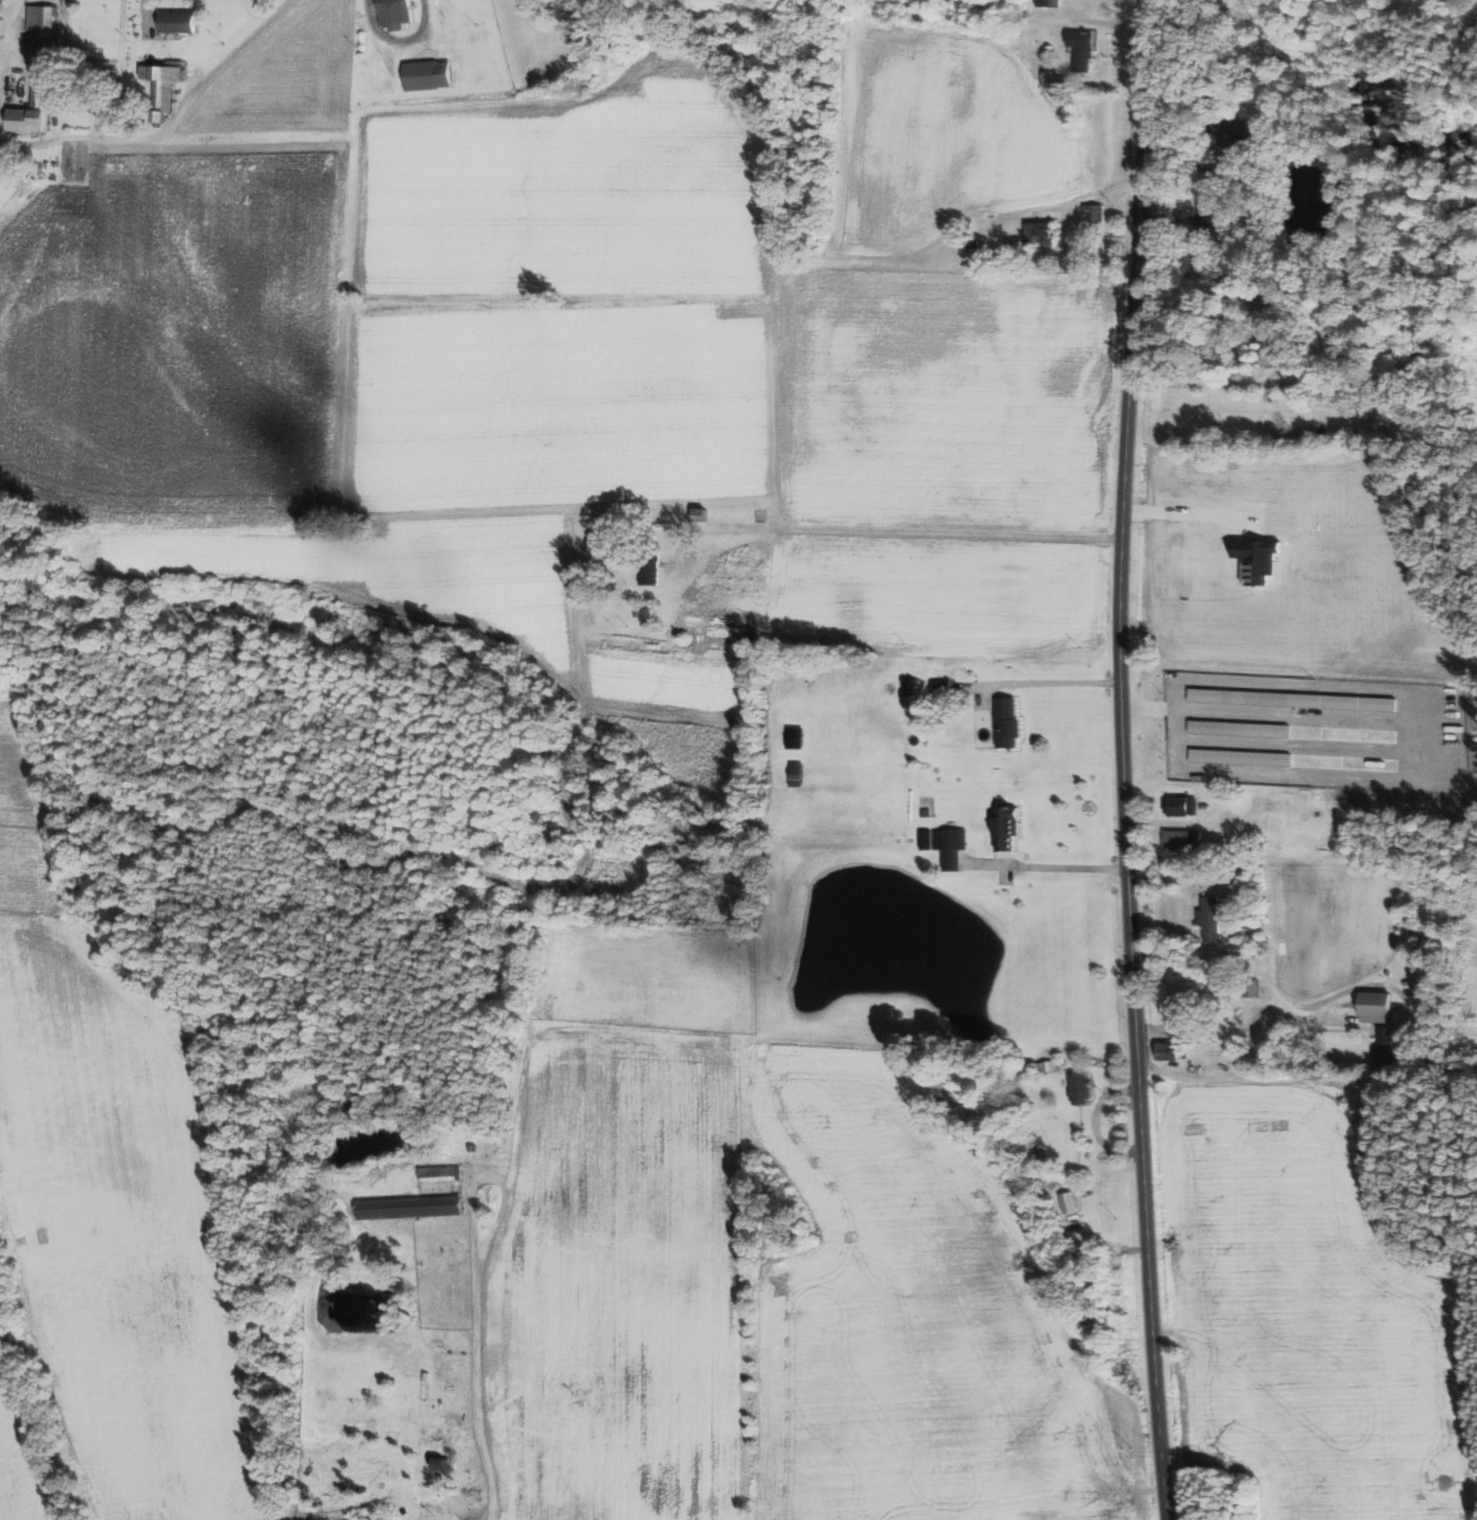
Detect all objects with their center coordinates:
building: (1049, 2)
building: (394, 14)
building: (42, 21)
building: (177, 21)
building: (1084, 49)
building: (427, 75)
building: (163, 86)
building: (31, 111)
building: (1252, 133)
building: (1214, 205)
building: (1096, 212)
building: (1042, 234)
building: (1426, 337)
building: (1273, 349)
road: (1250, 369)
road: (908, 545)
building: (602, 551)
building: (650, 615)
road: (1051, 681)
building: (1240, 696)
building: (1009, 722)
building: (1240, 728)
road: (1123, 760)
building: (1185, 806)
building: (1009, 829)
building: (1184, 839)
building: (948, 845)
road: (1052, 866)
building: (1214, 916)
building: (1252, 987)
building: (1378, 1007)
building: (1182, 1012)
building: (1389, 1048)
building: (1170, 1051)
road: (1282, 1054)
building: (1082, 1088)
building: (441, 1173)
road: (491, 1179)
building: (1070, 1201)
building: (411, 1206)
road: (479, 1384)
building: (445, 1463)
building: (379, 1519)

